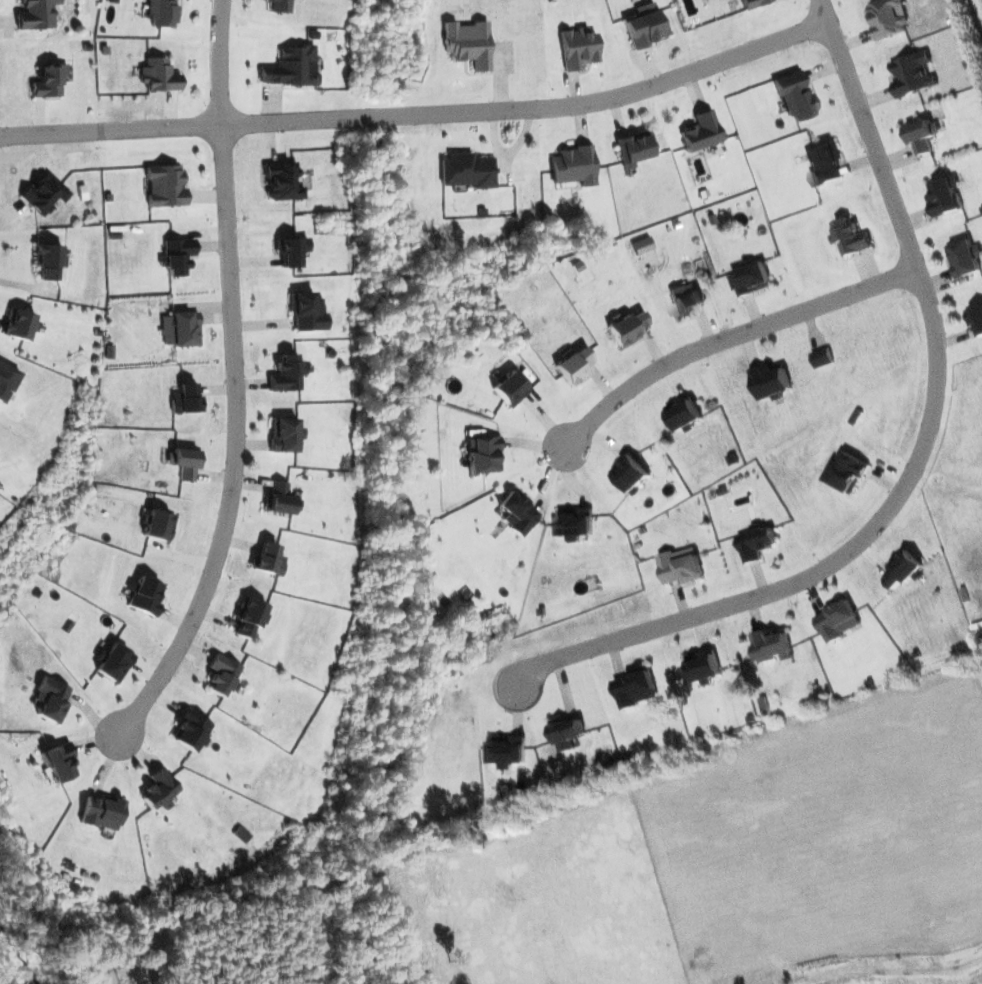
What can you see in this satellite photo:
building: (753, 3)
building: (280, 6)
building: (161, 13)
building: (35, 14)
building: (887, 18)
building: (644, 26)
building: (466, 43)
building: (577, 47)
road: (228, 61)
building: (292, 67)
building: (913, 74)
building: (158, 75)
building: (48, 81)
building: (794, 96)
road: (422, 114)
building: (701, 131)
building: (922, 134)
building: (632, 148)
building: (824, 162)
building: (573, 166)
building: (466, 170)
building: (283, 180)
building: (165, 186)
building: (43, 194)
building: (945, 196)
building: (851, 236)
building: (292, 251)
building: (177, 256)
building: (965, 257)
building: (47, 260)
building: (751, 278)
building: (685, 299)
building: (306, 311)
building: (975, 317)
building: (18, 324)
building: (626, 328)
building: (185, 329)
road: (731, 338)
building: (822, 357)
building: (572, 365)
building: (286, 373)
building: (6, 381)
building: (770, 381)
building: (508, 389)
building: (185, 399)
building: (684, 412)
building: (284, 434)
road: (238, 446)
road: (928, 454)
building: (483, 455)
building: (186, 463)
building: (846, 471)
building: (632, 473)
building: (281, 499)
building: (516, 511)
building: (575, 522)
building: (157, 525)
building: (756, 542)
building: (268, 559)
building: (682, 565)
building: (902, 567)
building: (144, 596)
building: (249, 616)
building: (838, 618)
building: (772, 645)
building: (113, 662)
building: (705, 666)
building: (222, 675)
building: (638, 686)
building: (50, 699)
building: (191, 730)
building: (569, 732)
building: (509, 750)
building: (58, 761)
building: (159, 789)
building: (100, 812)
building: (240, 834)

